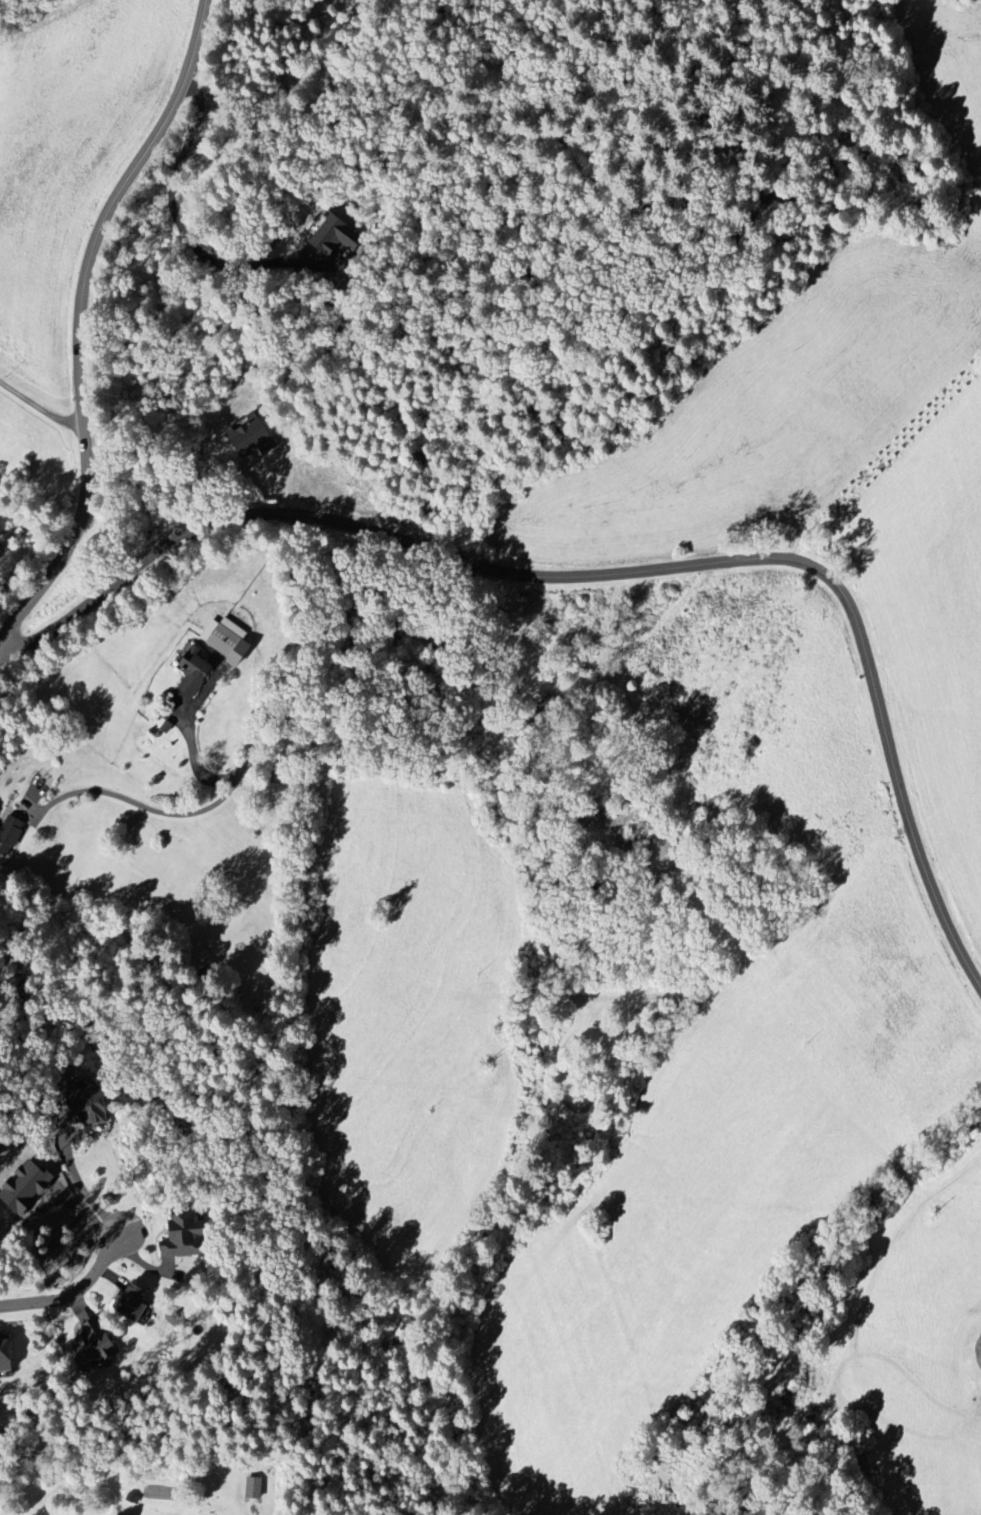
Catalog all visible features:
road: (184, 229)
building: (337, 237)
road: (82, 322)
road: (44, 402)
building: (253, 439)
road: (617, 581)
building: (231, 641)
building: (199, 672)
road: (190, 744)
road: (252, 747)
building: (590, 820)
building: (11, 836)
building: (666, 857)
building: (91, 1109)
road: (79, 1182)
building: (23, 1188)
building: (0, 1224)
building: (185, 1236)
road: (74, 1290)
building: (134, 1302)
building: (93, 1346)
building: (7, 1356)
building: (253, 1489)

